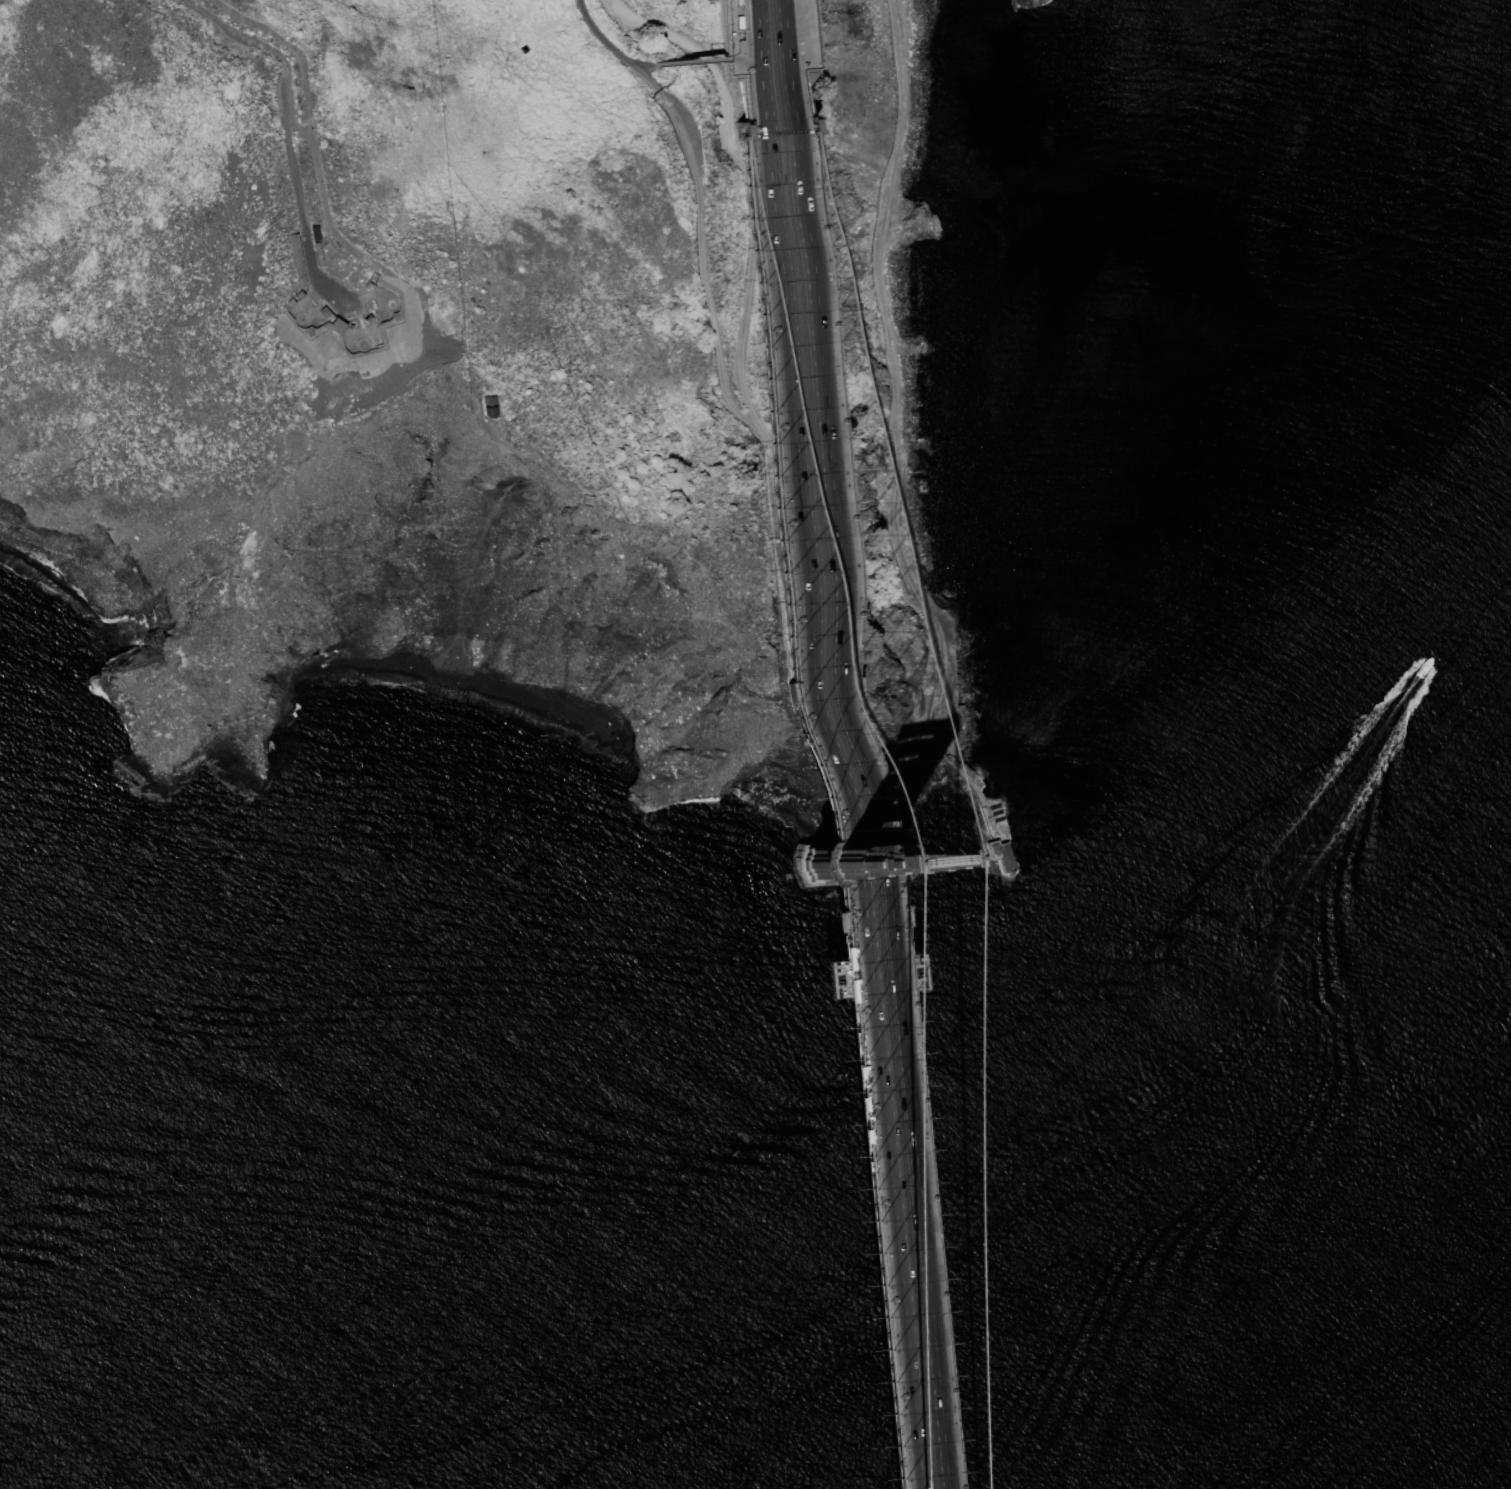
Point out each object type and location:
road: (256, 27)
road: (253, 38)
road: (696, 60)
road: (645, 66)
road: (298, 127)
road: (289, 143)
road: (317, 172)
road: (329, 296)
road: (359, 299)
road: (358, 333)
road: (364, 336)
road: (895, 390)
building: (483, 400)
building: (483, 412)
road: (758, 425)
road: (817, 744)
road: (835, 744)
road: (802, 754)
road: (854, 754)
road: (983, 799)
building: (997, 853)
lighthouse: (1004, 864)

